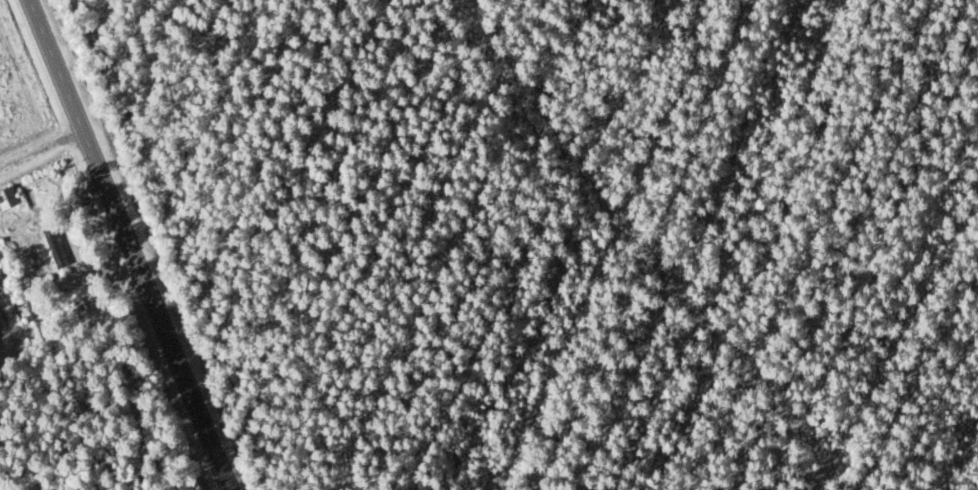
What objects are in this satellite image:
building: (7, 198)
road: (128, 245)
building: (53, 248)

